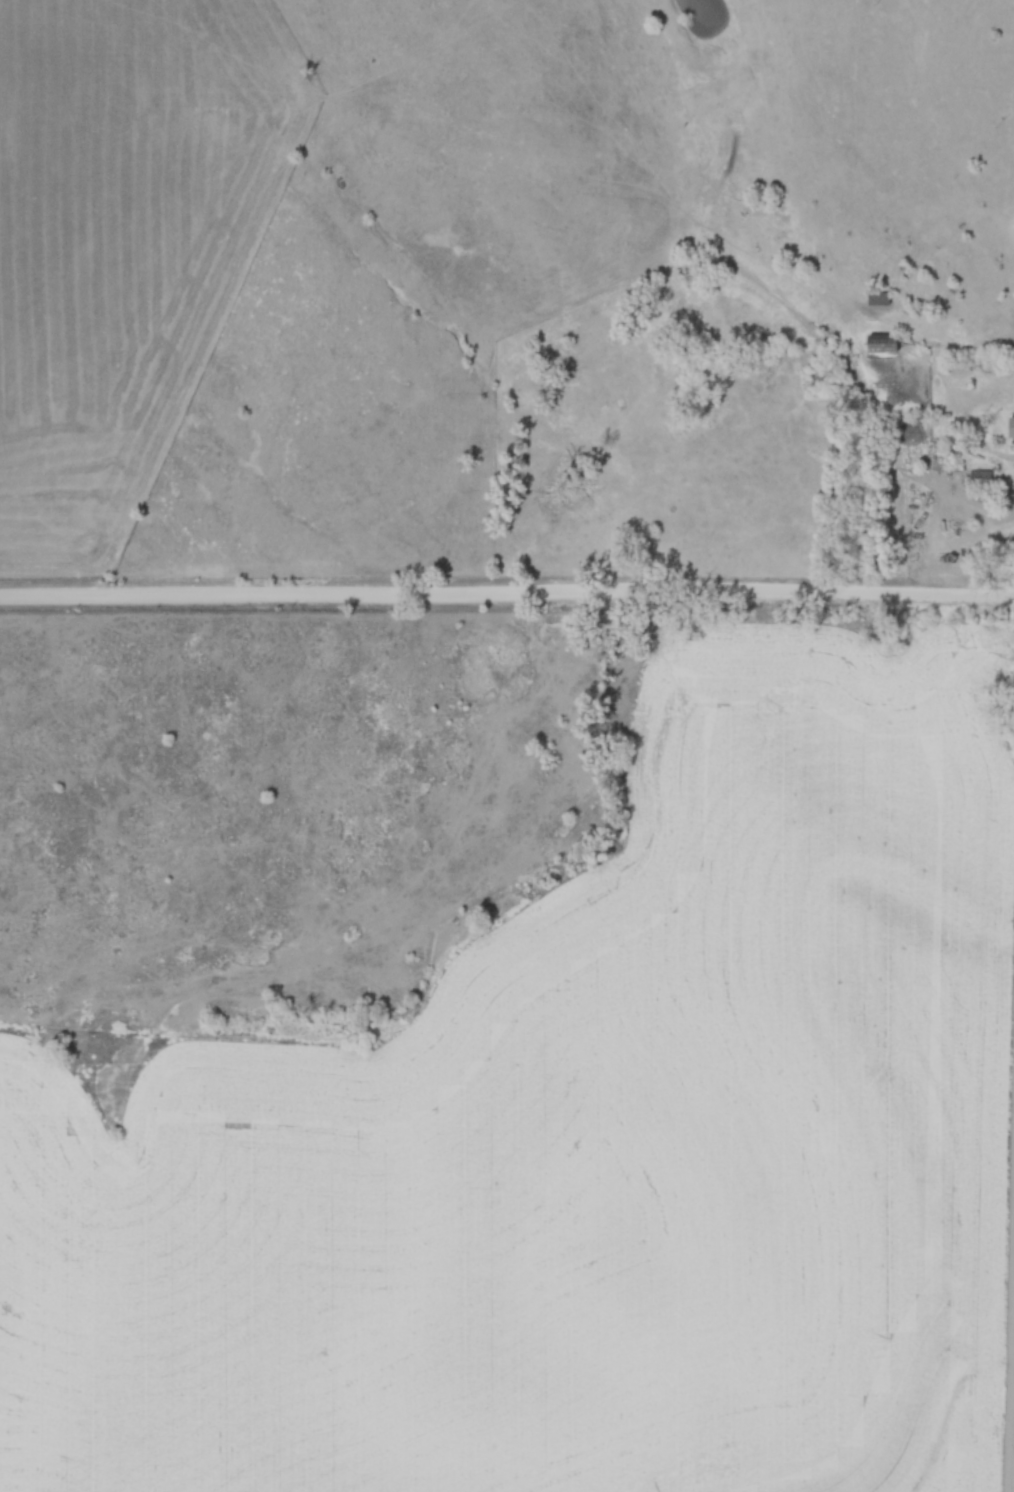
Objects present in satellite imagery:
building: (878, 297)
building: (881, 343)
building: (1010, 425)
road: (995, 458)
building: (980, 476)
road: (507, 594)

